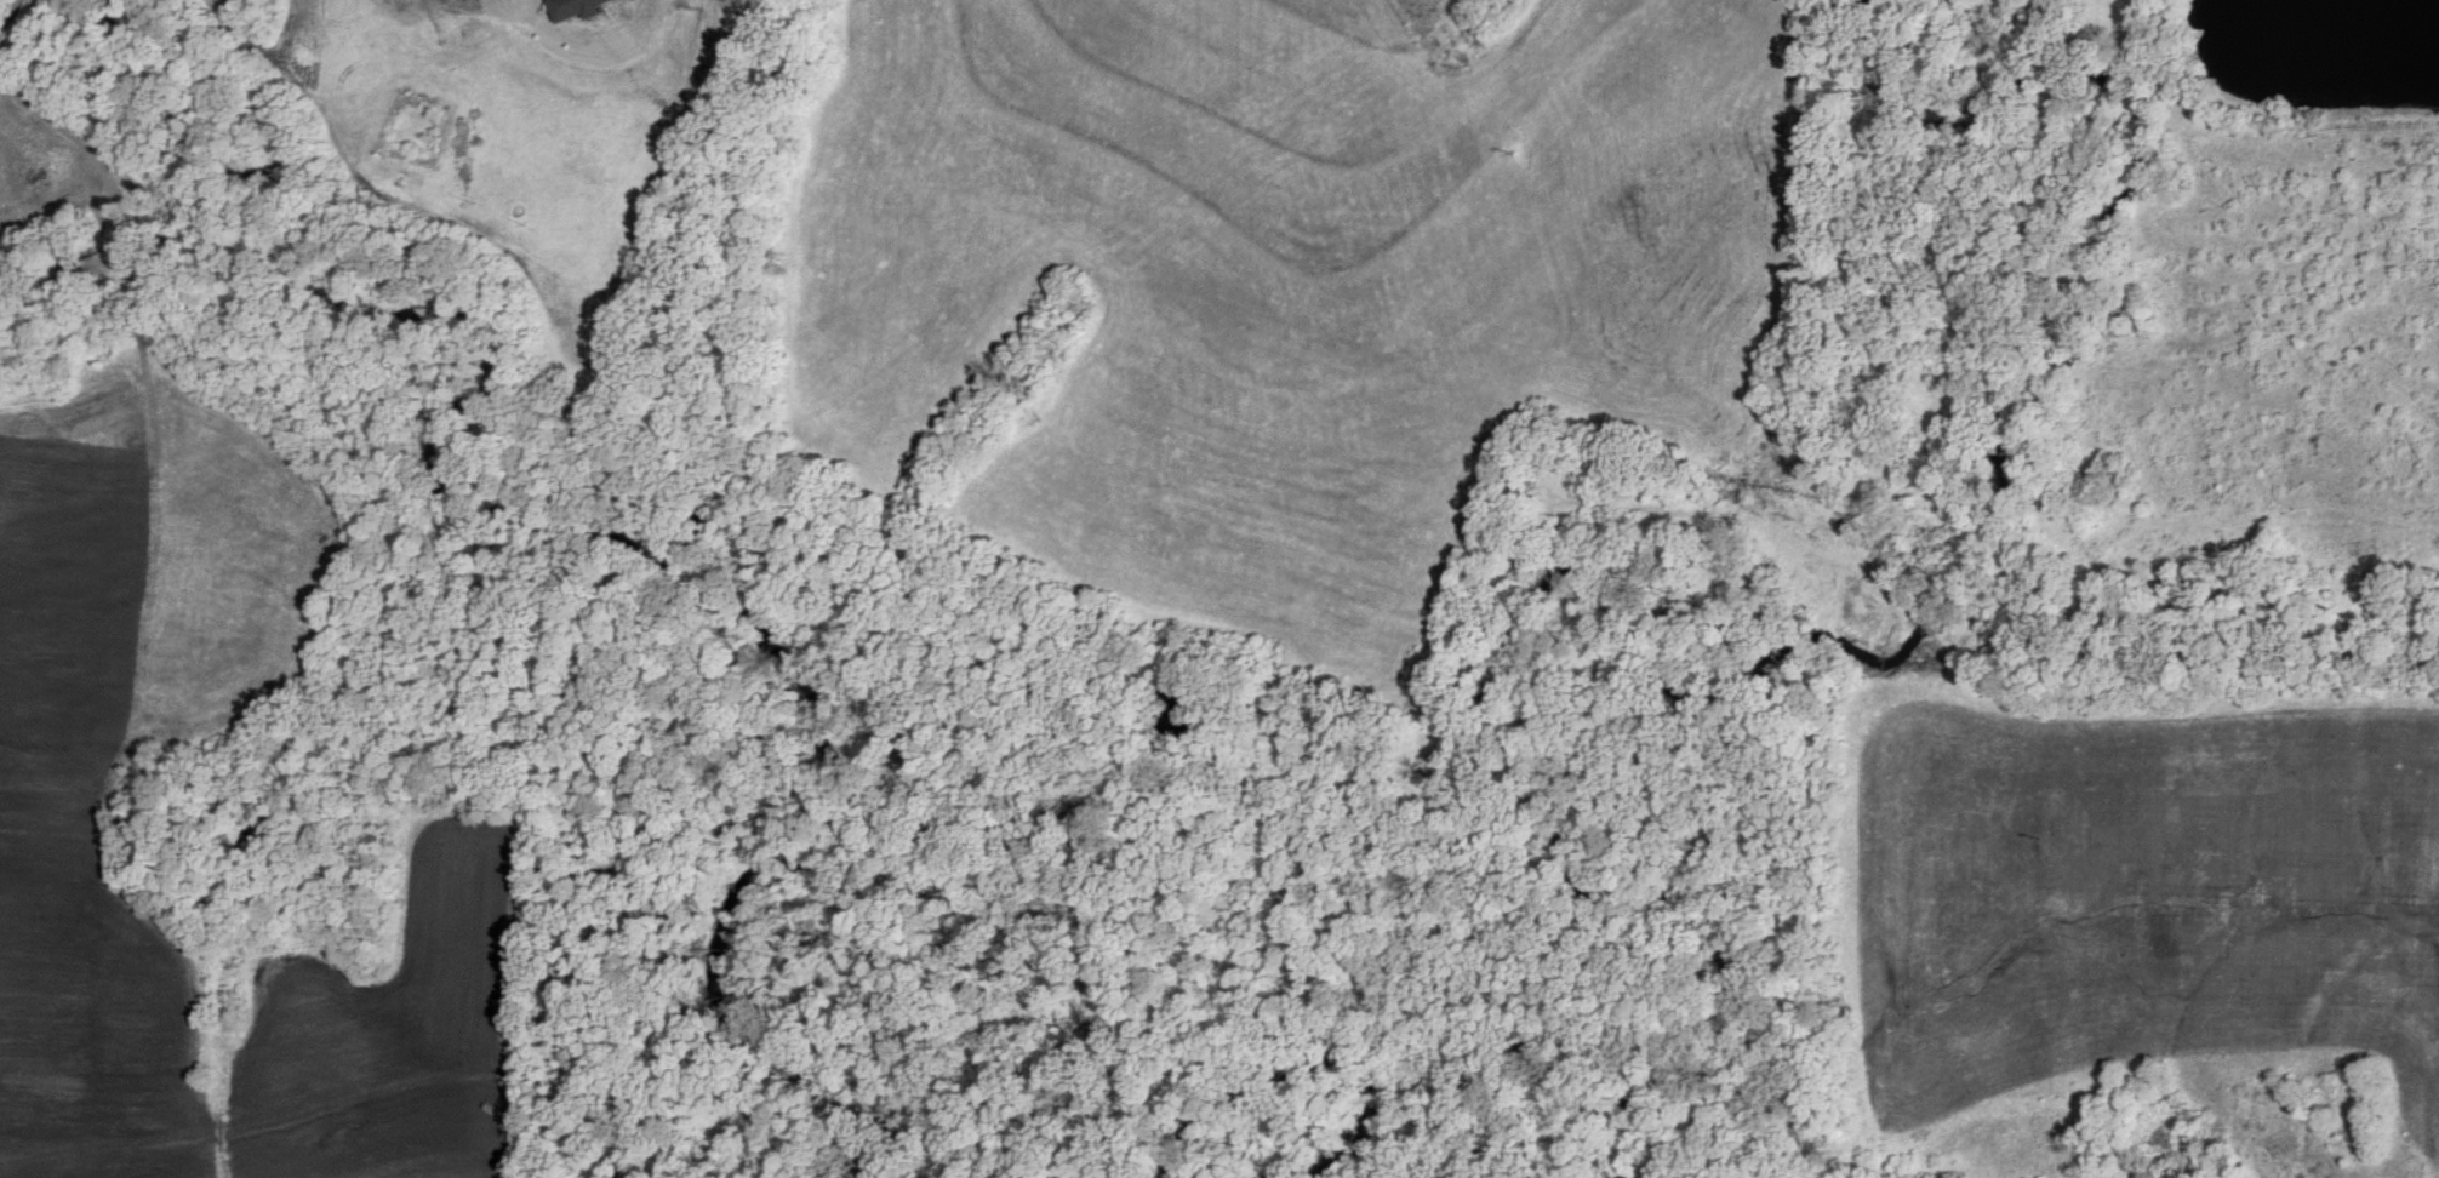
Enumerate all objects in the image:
road: (230, 0)
building: (582, 7)
crop: (50, 175)
crop: (114, 749)

